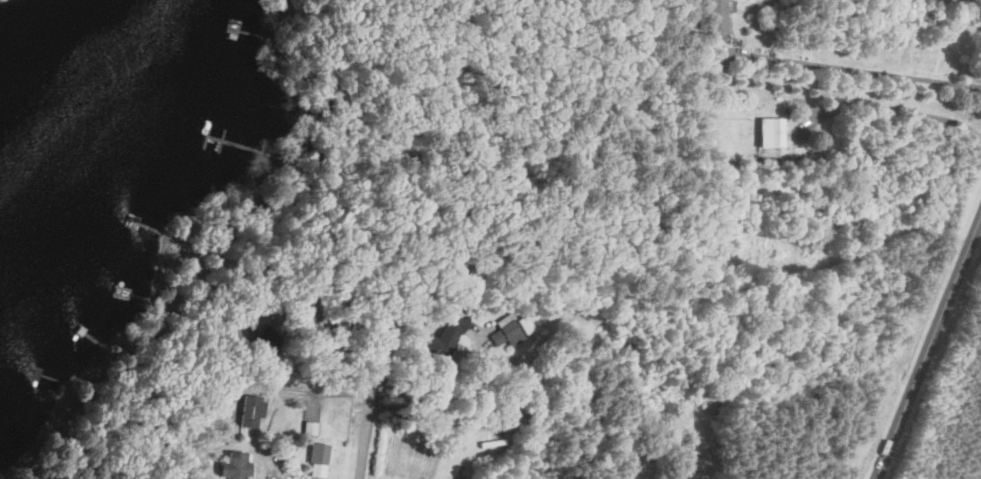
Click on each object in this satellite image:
building: (714, 17)
road: (862, 70)
building: (767, 134)
building: (505, 334)
building: (441, 341)
building: (258, 342)
road: (927, 347)
building: (249, 414)
building: (308, 430)
road: (366, 444)
building: (315, 456)
building: (230, 466)
building: (681, 473)

